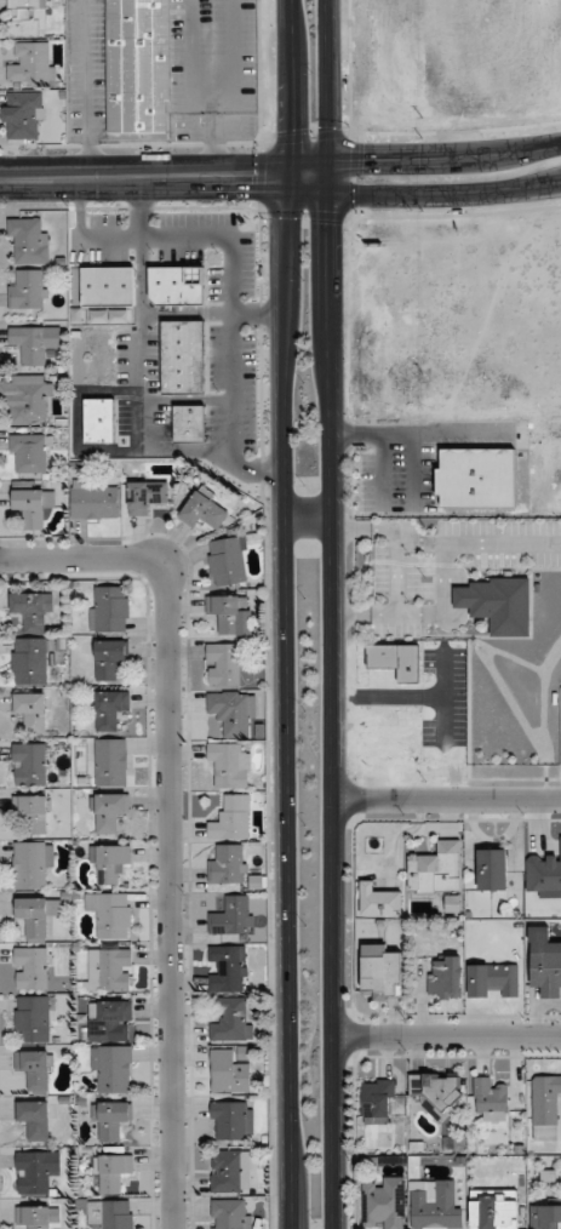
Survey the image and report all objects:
building: (27, 18)
building: (30, 63)
building: (137, 65)
road: (291, 88)
building: (22, 115)
traffic signals: (292, 135)
road: (521, 152)
traffic signals: (360, 160)
road: (384, 160)
road: (145, 178)
traffic signals: (252, 178)
road: (424, 196)
traffic signals: (330, 221)
building: (28, 241)
road: (76, 246)
road: (231, 273)
building: (176, 285)
building: (108, 286)
building: (35, 292)
road: (142, 314)
road: (213, 314)
building: (35, 343)
building: (183, 358)
road: (109, 389)
building: (28, 399)
road: (187, 400)
building: (98, 421)
building: (189, 423)
road: (422, 433)
road: (124, 451)
building: (28, 453)
road: (380, 473)
road: (413, 473)
building: (475, 478)
building: (145, 496)
building: (93, 499)
building: (33, 505)
building: (204, 510)
road: (403, 514)
road: (308, 518)
road: (354, 536)
road: (443, 543)
building: (228, 561)
road: (396, 571)
road: (460, 591)
building: (498, 604)
building: (109, 608)
building: (33, 611)
building: (227, 613)
road: (334, 613)
road: (423, 613)
building: (109, 658)
building: (29, 661)
building: (223, 664)
road: (285, 703)
building: (110, 709)
building: (30, 710)
building: (231, 711)
building: (110, 762)
building: (29, 764)
building: (229, 764)
road: (448, 800)
building: (109, 811)
road: (171, 812)
building: (33, 813)
building: (230, 818)
building: (109, 863)
building: (228, 863)
building: (32, 864)
building: (436, 869)
building: (492, 869)
building: (379, 901)
building: (109, 914)
building: (36, 915)
building: (231, 916)
building: (544, 960)
building: (30, 967)
building: (227, 968)
building: (108, 970)
building: (380, 972)
building: (443, 977)
building: (493, 981)
building: (32, 1018)
building: (108, 1018)
building: (230, 1019)
road: (448, 1037)
building: (35, 1070)
building: (111, 1070)
building: (228, 1071)
building: (436, 1092)
building: (490, 1099)
building: (377, 1102)
building: (545, 1107)
building: (34, 1119)
building: (111, 1120)
building: (231, 1120)
building: (35, 1171)
building: (231, 1171)
building: (111, 1172)
building: (383, 1202)
building: (436, 1205)
building: (493, 1208)
building: (108, 1213)
building: (230, 1213)
building: (38, 1217)
building: (544, 1217)

